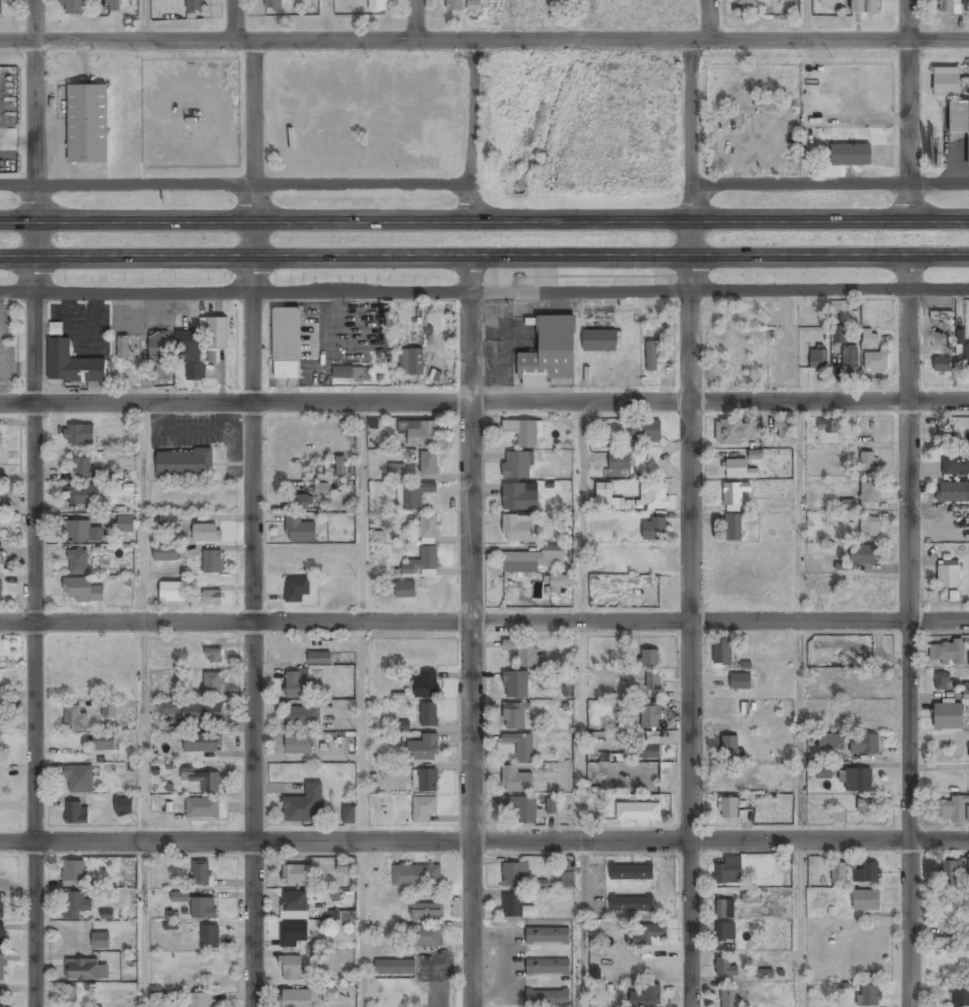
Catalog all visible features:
building: (113, 5)
building: (273, 5)
building: (377, 5)
building: (455, 5)
building: (194, 6)
building: (746, 6)
building: (1, 7)
building: (71, 7)
building: (864, 7)
building: (948, 7)
road: (707, 20)
road: (805, 20)
road: (145, 21)
road: (234, 21)
road: (326, 21)
road: (413, 21)
road: (506, 21)
road: (829, 41)
road: (117, 42)
road: (244, 42)
road: (471, 42)
building: (946, 82)
building: (765, 104)
road: (909, 111)
building: (959, 120)
building: (87, 124)
road: (470, 132)
building: (850, 155)
road: (232, 184)
road: (830, 184)
road: (484, 223)
road: (484, 256)
road: (484, 292)
building: (941, 316)
building: (216, 333)
building: (839, 337)
building: (869, 337)
building: (600, 341)
building: (286, 343)
building: (158, 346)
building: (122, 348)
building: (549, 352)
building: (190, 354)
building: (652, 356)
building: (966, 356)
building: (849, 358)
building: (819, 359)
building: (411, 362)
building: (875, 362)
building: (71, 364)
building: (941, 365)
building: (351, 374)
road: (484, 402)
building: (827, 430)
building: (782, 431)
building: (523, 432)
building: (646, 432)
building: (733, 433)
building: (941, 433)
building: (419, 434)
building: (79, 435)
building: (755, 454)
building: (868, 460)
building: (619, 462)
building: (184, 464)
building: (428, 464)
building: (955, 464)
building: (517, 466)
building: (82, 467)
building: (341, 467)
building: (737, 470)
building: (396, 471)
building: (322, 487)
building: (869, 493)
building: (951, 494)
building: (412, 495)
building: (733, 495)
building: (82, 496)
building: (520, 497)
building: (605, 497)
building: (653, 497)
road: (33, 503)
building: (298, 503)
building: (847, 504)
road: (800, 511)
road: (362, 512)
road: (582, 512)
road: (143, 513)
building: (168, 521)
road: (690, 523)
road: (251, 524)
building: (126, 525)
building: (427, 527)
building: (869, 527)
building: (733, 528)
building: (518, 529)
building: (653, 530)
building: (301, 532)
building: (81, 533)
building: (206, 534)
building: (170, 554)
building: (863, 556)
building: (535, 560)
building: (77, 562)
building: (212, 562)
building: (422, 563)
building: (948, 576)
building: (561, 583)
building: (297, 589)
building: (82, 590)
building: (166, 590)
building: (405, 590)
building: (0, 592)
building: (212, 598)
road: (484, 622)
road: (469, 631)
road: (909, 631)
building: (524, 652)
building: (722, 653)
building: (947, 653)
building: (213, 656)
building: (319, 657)
building: (649, 658)
building: (968, 659)
building: (652, 681)
building: (740, 681)
building: (864, 683)
building: (212, 685)
building: (297, 685)
building: (425, 685)
building: (515, 686)
building: (949, 687)
road: (362, 691)
building: (169, 708)
building: (109, 709)
building: (741, 709)
building: (203, 712)
building: (428, 714)
building: (515, 716)
building: (302, 717)
building: (650, 717)
building: (948, 717)
building: (75, 719)
building: (400, 725)
road: (581, 731)
road: (800, 731)
road: (143, 732)
building: (105, 742)
building: (830, 742)
building: (202, 744)
building: (298, 745)
building: (864, 745)
building: (520, 746)
building: (0, 747)
building: (423, 749)
building: (730, 749)
building: (647, 752)
road: (307, 759)
building: (823, 772)
building: (80, 780)
building: (856, 780)
building: (206, 781)
building: (425, 781)
building: (515, 781)
road: (361, 799)
building: (304, 805)
building: (551, 805)
building: (123, 806)
building: (202, 808)
building: (423, 808)
building: (867, 808)
building: (523, 809)
building: (728, 809)
building: (953, 811)
building: (77, 812)
building: (638, 812)
building: (348, 815)
building: (838, 817)
road: (484, 840)
building: (968, 866)
building: (344, 867)
building: (729, 871)
building: (201, 872)
building: (631, 872)
building: (73, 873)
building: (838, 873)
building: (867, 873)
building: (951, 873)
building: (296, 875)
building: (416, 876)
building: (513, 876)
building: (568, 877)
building: (180, 896)
building: (751, 898)
building: (865, 901)
building: (631, 903)
building: (74, 904)
building: (293, 905)
building: (515, 907)
building: (203, 908)
building: (1, 909)
building: (724, 909)
building: (426, 912)
building: (342, 916)
building: (170, 920)
road: (361, 923)
road: (143, 924)
road: (581, 924)
road: (800, 924)
building: (651, 933)
building: (725, 933)
building: (292, 935)
building: (547, 936)
building: (2, 937)
building: (425, 937)
building: (210, 938)
building: (100, 940)
building: (945, 943)
building: (394, 968)
building: (547, 968)
building: (725, 968)
building: (2, 969)
building: (87, 969)
building: (290, 969)
building: (765, 973)
building: (71, 994)
building: (959, 995)
building: (869, 996)
building: (156, 997)
building: (646, 997)
building: (728, 997)
building: (296, 998)
building: (548, 999)
building: (2, 1000)
building: (200, 1000)

